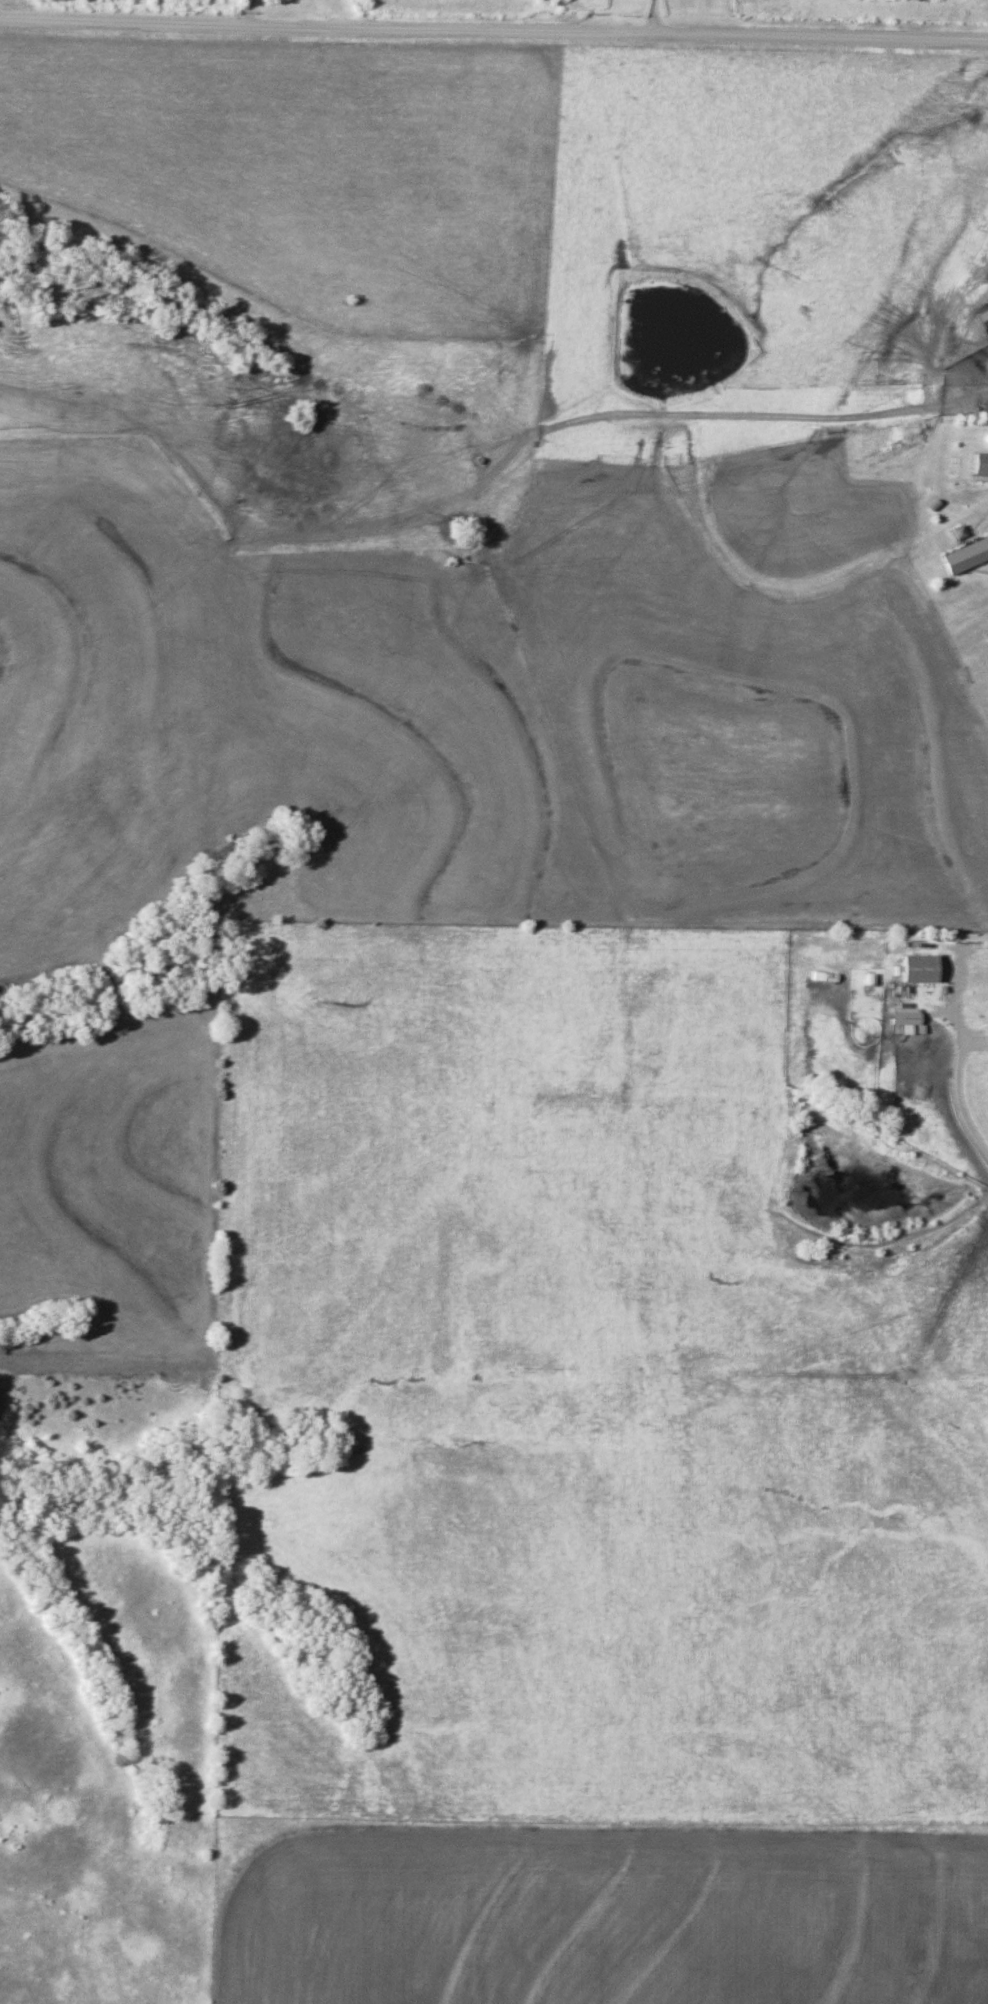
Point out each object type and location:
road: (247, 14)
road: (657, 18)
road: (493, 33)
building: (979, 464)
building: (965, 555)
building: (916, 968)
road: (957, 1105)

